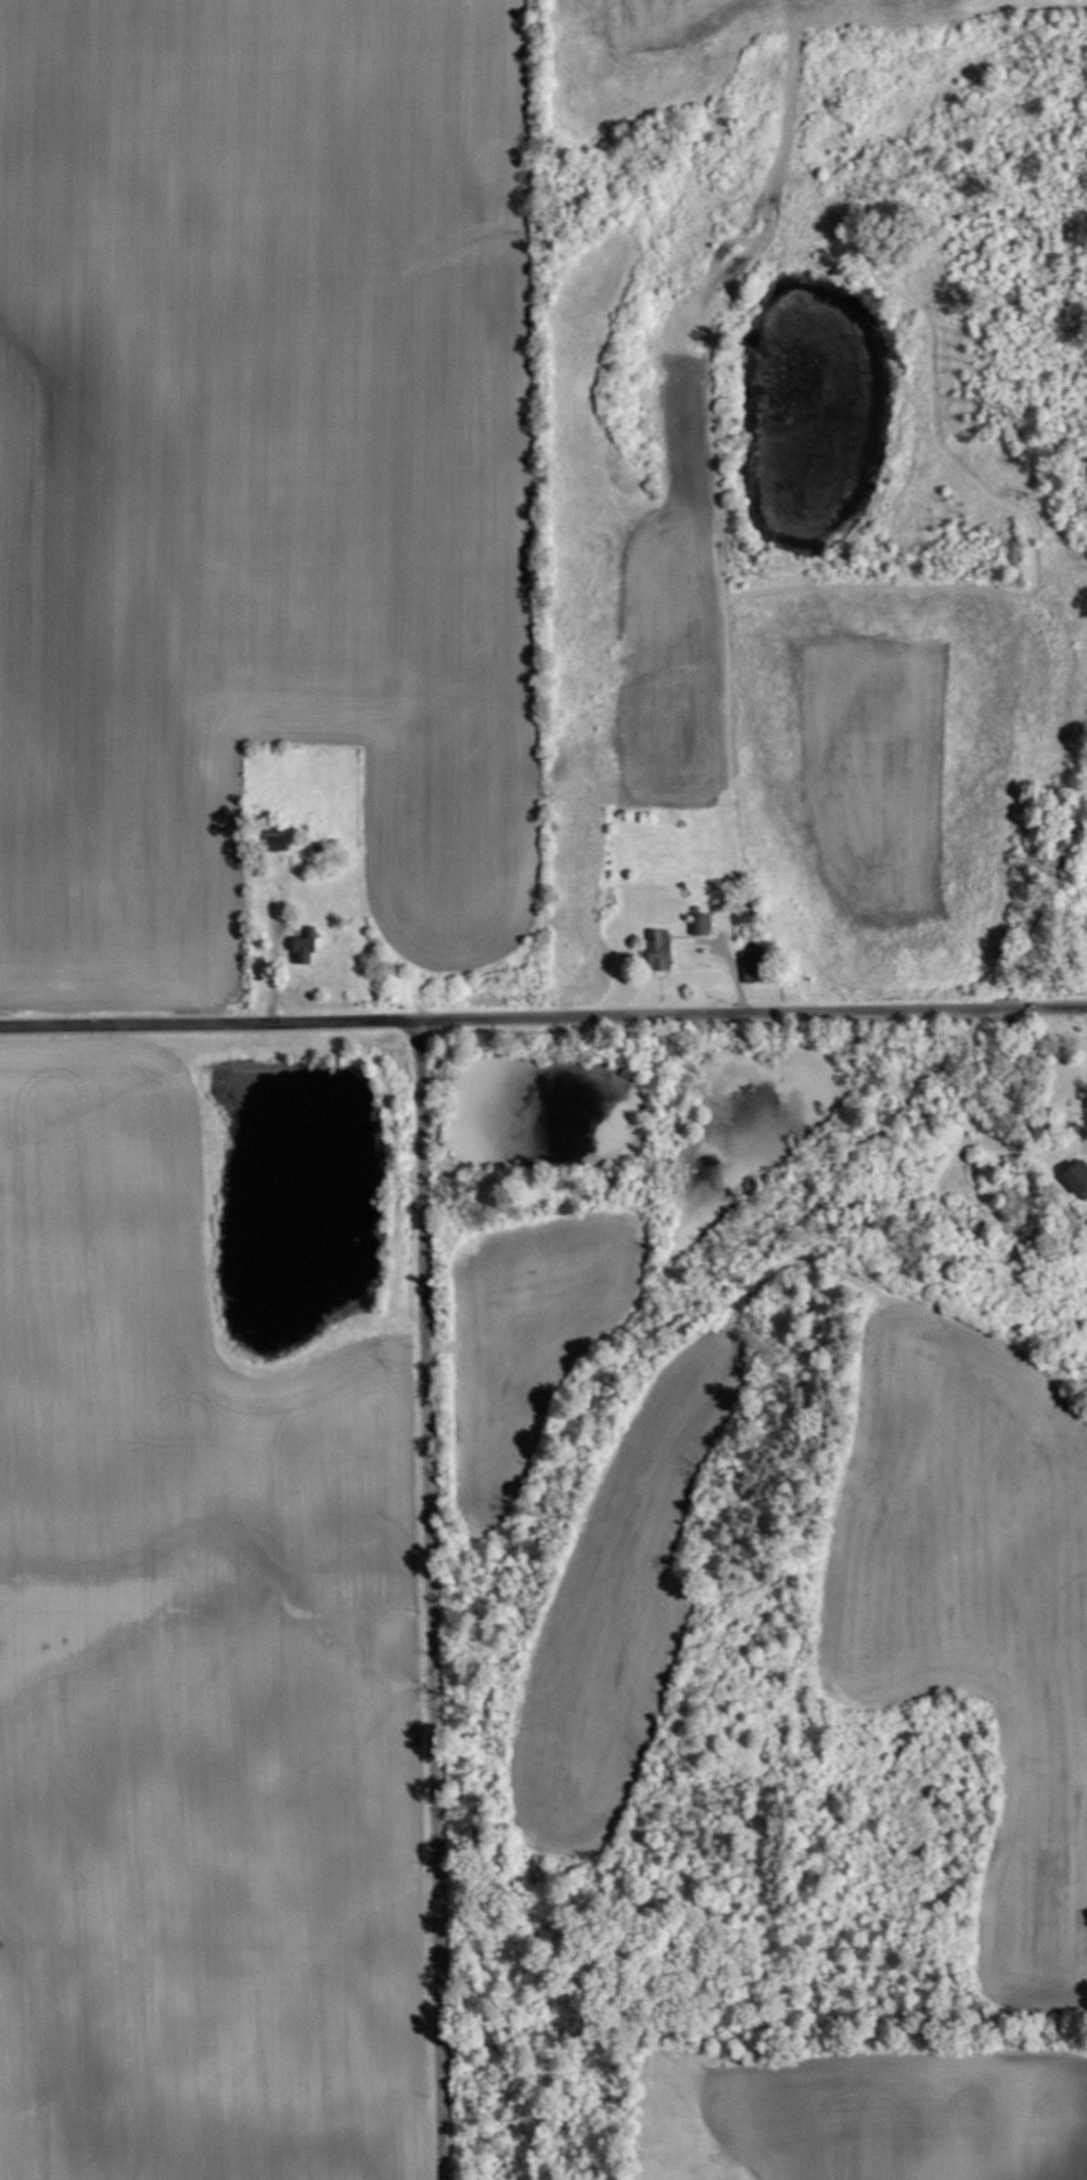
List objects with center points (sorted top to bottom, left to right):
building: (272, 835)
building: (744, 921)
building: (700, 923)
building: (658, 948)
building: (303, 949)
building: (754, 965)
road: (543, 1016)
building: (1077, 1175)
road: (433, 1599)

